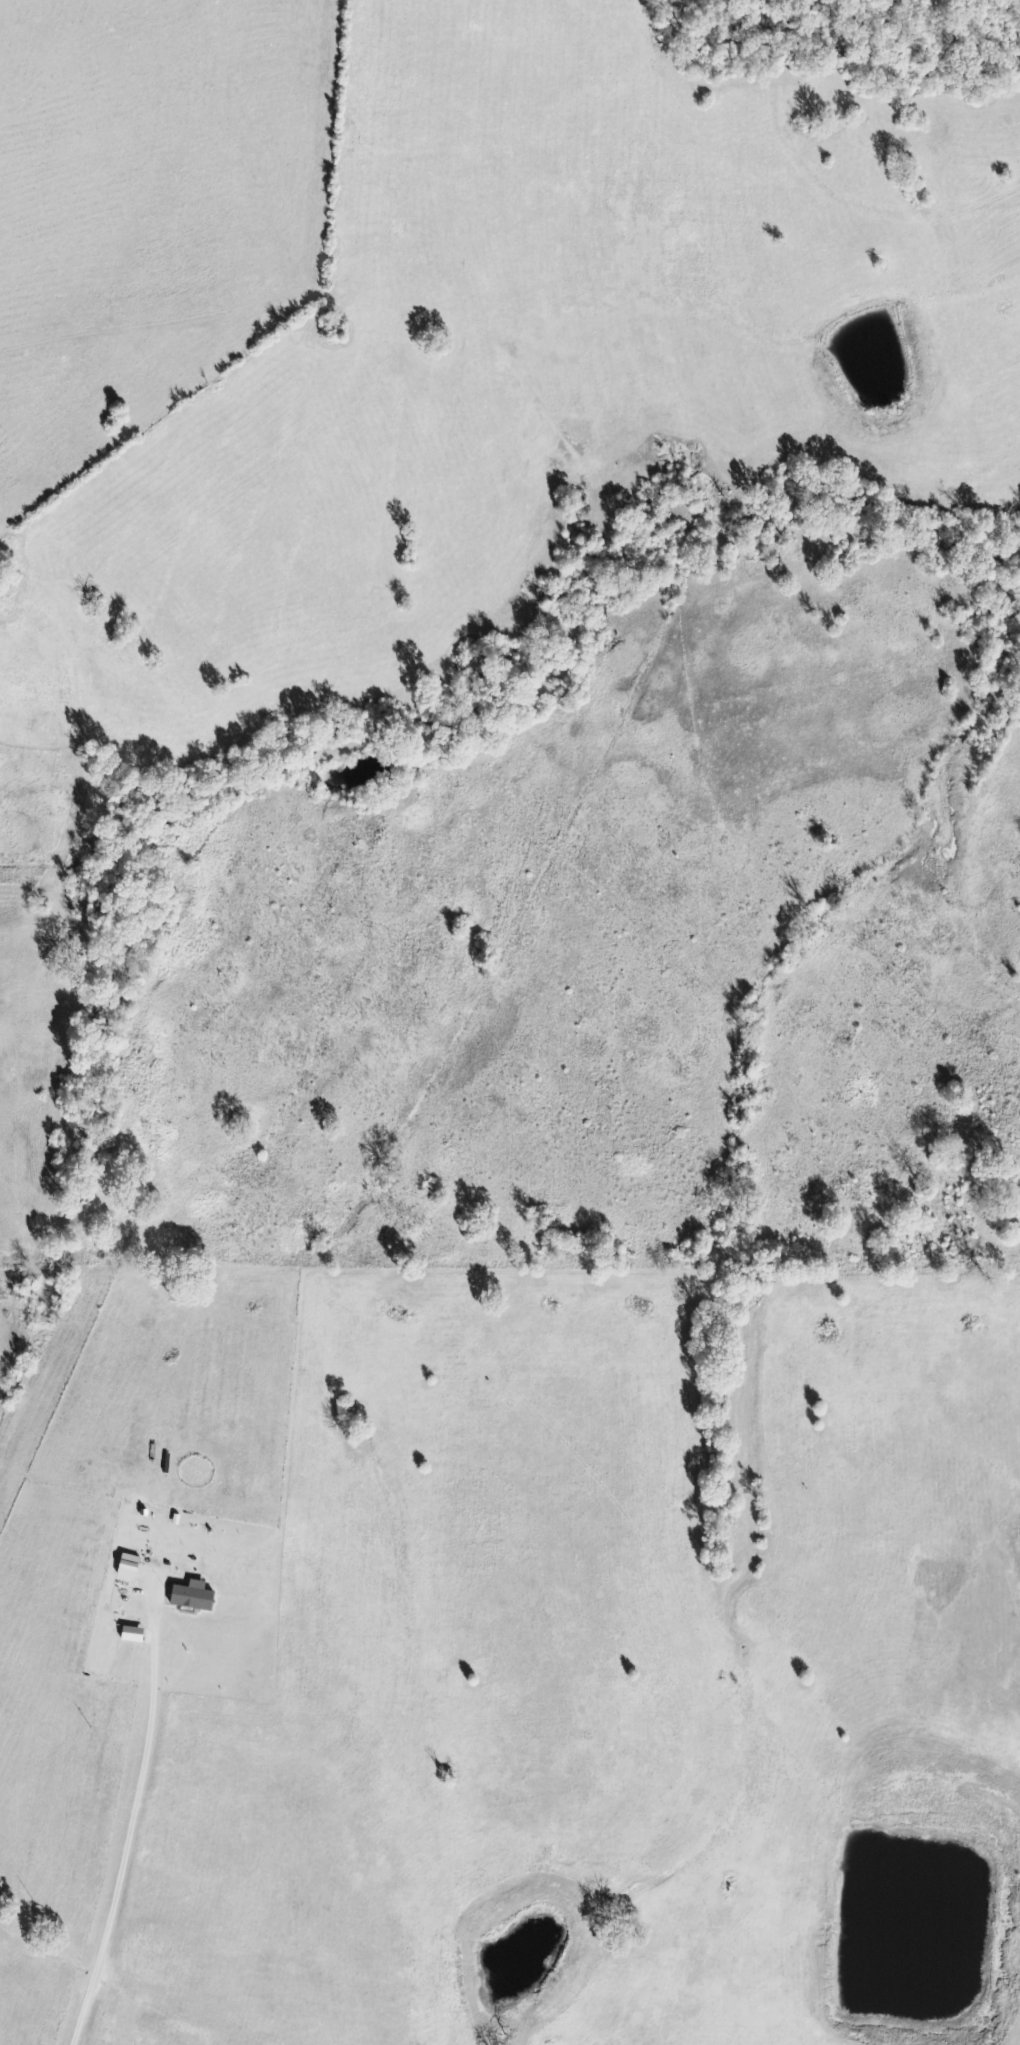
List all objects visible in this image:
building: (196, 1597)

